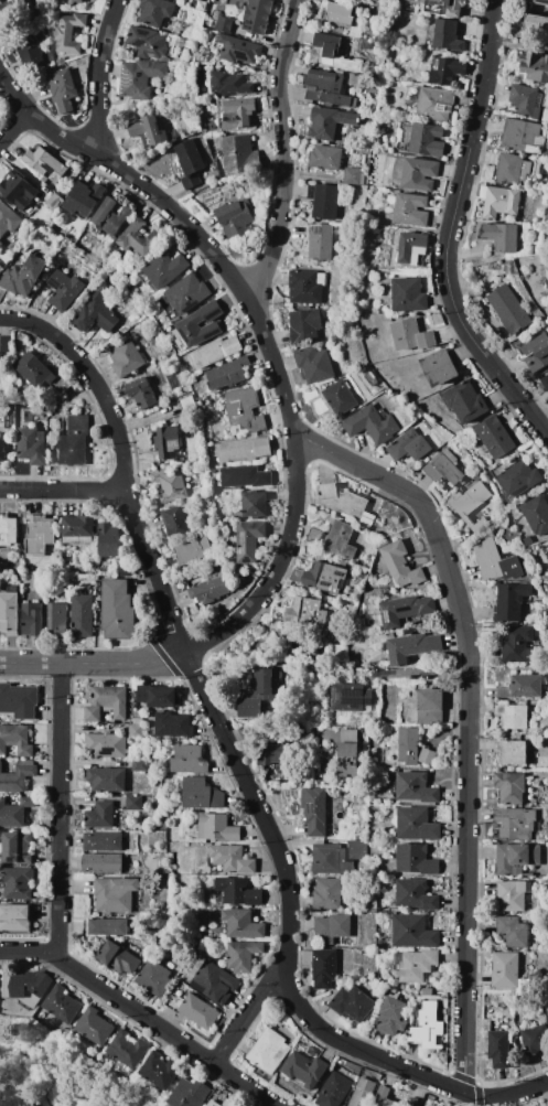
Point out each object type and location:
building: (374, 0)
building: (65, 1)
building: (75, 1)
building: (234, 2)
building: (539, 2)
building: (443, 7)
building: (15, 9)
building: (372, 9)
building: (154, 11)
building: (384, 12)
building: (337, 13)
building: (256, 15)
building: (536, 23)
building: (223, 24)
building: (354, 32)
building: (69, 33)
building: (445, 35)
building: (147, 43)
building: (236, 49)
building: (29, 51)
building: (333, 53)
building: (61, 62)
building: (72, 63)
building: (534, 66)
building: (444, 69)
building: (369, 71)
road: (100, 75)
building: (140, 77)
building: (354, 78)
building: (228, 83)
building: (327, 86)
building: (65, 90)
building: (525, 100)
building: (433, 103)
building: (201, 105)
building: (234, 112)
building: (327, 122)
road: (13, 130)
building: (149, 131)
building: (518, 133)
building: (427, 139)
building: (217, 142)
road: (284, 152)
building: (238, 154)
building: (324, 157)
building: (190, 158)
building: (45, 164)
building: (511, 169)
building: (419, 174)
building: (352, 175)
road: (129, 180)
building: (191, 181)
building: (22, 191)
building: (84, 198)
building: (323, 201)
building: (54, 202)
building: (502, 202)
building: (410, 210)
building: (111, 215)
building: (9, 219)
building: (236, 219)
building: (343, 221)
building: (336, 230)
road: (450, 232)
building: (499, 236)
building: (139, 237)
building: (321, 241)
building: (1, 244)
building: (412, 248)
building: (163, 268)
building: (546, 275)
building: (24, 276)
building: (305, 286)
building: (64, 290)
building: (186, 292)
building: (1, 294)
building: (409, 294)
building: (507, 309)
building: (95, 313)
building: (201, 325)
building: (304, 325)
building: (410, 335)
building: (6, 350)
building: (216, 351)
building: (536, 353)
building: (126, 358)
building: (314, 364)
road: (275, 366)
building: (439, 366)
building: (40, 373)
building: (229, 374)
building: (355, 377)
building: (372, 377)
building: (544, 383)
building: (140, 394)
building: (340, 397)
building: (465, 401)
building: (187, 405)
building: (245, 410)
building: (2, 421)
building: (42, 423)
building: (372, 423)
building: (494, 437)
building: (74, 440)
building: (166, 442)
building: (411, 442)
building: (3, 445)
building: (32, 445)
building: (239, 450)
building: (50, 460)
building: (444, 469)
building: (246, 476)
building: (518, 476)
building: (476, 477)
building: (170, 485)
road: (64, 490)
building: (472, 501)
building: (346, 504)
building: (254, 505)
building: (536, 515)
building: (174, 523)
building: (77, 530)
building: (387, 530)
building: (8, 531)
building: (40, 534)
building: (108, 540)
building: (249, 540)
building: (341, 540)
building: (527, 540)
building: (547, 546)
building: (191, 551)
building: (487, 560)
road: (278, 563)
building: (343, 563)
building: (401, 565)
building: (3, 568)
building: (125, 568)
building: (512, 568)
building: (101, 569)
building: (325, 578)
building: (346, 591)
building: (208, 592)
building: (512, 601)
building: (115, 609)
building: (404, 610)
building: (9, 611)
building: (82, 613)
building: (303, 614)
building: (32, 619)
building: (57, 620)
building: (518, 644)
building: (412, 647)
building: (311, 652)
road: (93, 663)
road: (419, 675)
building: (266, 685)
building: (522, 687)
building: (158, 697)
building: (350, 697)
building: (18, 701)
building: (106, 704)
building: (249, 707)
building: (430, 707)
building: (139, 715)
building: (513, 716)
building: (344, 717)
building: (138, 721)
building: (150, 722)
road: (470, 723)
building: (173, 724)
road: (276, 730)
building: (135, 731)
building: (14, 741)
building: (106, 745)
building: (408, 745)
building: (512, 751)
building: (272, 752)
building: (348, 752)
building: (427, 756)
building: (190, 760)
building: (139, 765)
road: (237, 766)
building: (15, 774)
building: (106, 779)
building: (157, 786)
building: (417, 787)
building: (511, 787)
building: (201, 794)
building: (382, 799)
building: (133, 803)
road: (58, 807)
building: (14, 809)
building: (314, 812)
building: (100, 816)
building: (418, 824)
building: (515, 824)
building: (121, 826)
building: (216, 828)
building: (103, 841)
building: (17, 848)
building: (337, 857)
building: (516, 858)
building: (232, 859)
building: (416, 859)
building: (103, 862)
building: (15, 883)
building: (164, 887)
building: (236, 892)
building: (327, 893)
building: (116, 894)
building: (416, 895)
building: (513, 895)
building: (14, 919)
building: (241, 924)
building: (105, 926)
building: (336, 930)
building: (413, 932)
building: (512, 932)
building: (380, 942)
building: (542, 944)
building: (243, 955)
building: (119, 957)
building: (546, 958)
building: (415, 965)
building: (324, 968)
building: (505, 970)
building: (189, 976)
building: (154, 979)
building: (215, 982)
building: (379, 986)
building: (520, 986)
building: (28, 987)
building: (427, 991)
building: (175, 1000)
building: (62, 1005)
building: (353, 1005)
building: (547, 1008)
building: (198, 1012)
road: (249, 1012)
road: (141, 1014)
building: (390, 1016)
building: (94, 1027)
building: (428, 1028)
building: (536, 1039)
building: (127, 1049)
building: (498, 1049)
building: (269, 1051)
road: (3, 1065)
building: (159, 1070)
building: (304, 1070)
road: (61, 1072)
park: (49, 1074)
building: (334, 1089)
building: (189, 1093)
building: (363, 1093)
road: (13, 1096)
building: (384, 1097)
building: (412, 1102)
road: (511, 1102)
building: (229, 1103)
building: (213, 1104)

